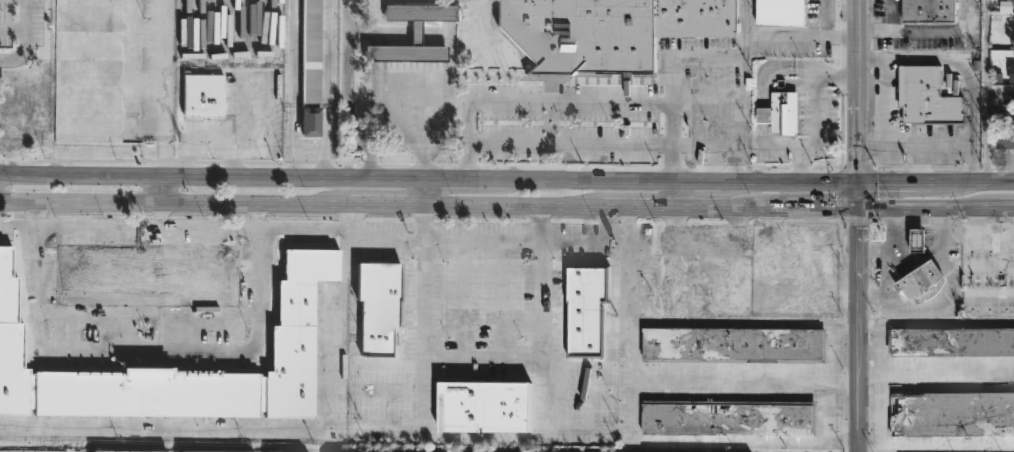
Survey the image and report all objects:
building: (1006, 5)
building: (931, 10)
building: (779, 12)
building: (420, 14)
road: (890, 16)
parking lot: (24, 22)
building: (608, 30)
road: (13, 31)
road: (943, 31)
road: (876, 32)
road: (379, 34)
road: (415, 35)
road: (824, 35)
road: (428, 36)
road: (27, 40)
road: (394, 41)
road: (861, 43)
building: (407, 52)
road: (394, 55)
road: (428, 55)
road: (698, 63)
road: (969, 66)
building: (311, 68)
building: (89, 71)
building: (1012, 72)
road: (750, 78)
road: (152, 89)
road: (986, 91)
road: (347, 92)
building: (202, 96)
building: (926, 96)
road: (570, 103)
road: (394, 112)
building: (782, 113)
road: (817, 115)
road: (426, 121)
road: (859, 134)
building: (1006, 139)
road: (571, 144)
road: (722, 145)
traffic signals: (859, 163)
road: (942, 168)
road: (212, 178)
road: (482, 180)
road: (610, 181)
road: (715, 182)
road: (803, 182)
traffic signals: (878, 182)
road: (922, 182)
road: (1000, 182)
road: (164, 191)
road: (426, 194)
road: (682, 195)
road: (858, 195)
road: (212, 205)
road: (984, 207)
road: (497, 208)
road: (625, 208)
road: (700, 208)
road: (788, 208)
road: (907, 208)
traffic signals: (836, 209)
road: (164, 217)
road: (872, 218)
road: (354, 222)
road: (425, 224)
road: (540, 225)
road: (611, 225)
road: (19, 228)
road: (149, 229)
traffic signals: (860, 229)
road: (433, 240)
road: (695, 240)
road: (991, 240)
building: (794, 245)
road: (894, 247)
road: (915, 256)
road: (993, 264)
road: (860, 265)
building: (146, 273)
building: (737, 281)
building: (920, 282)
building: (485, 285)
building: (673, 285)
building: (989, 296)
road: (990, 296)
road: (947, 297)
building: (797, 300)
building: (382, 306)
building: (587, 309)
road: (145, 313)
road: (733, 322)
road: (937, 322)
road: (846, 323)
building: (292, 331)
road: (343, 333)
road: (542, 335)
building: (952, 341)
building: (736, 344)
road: (148, 351)
road: (428, 353)
road: (833, 354)
road: (938, 372)
road: (734, 382)
road: (862, 387)
building: (484, 406)
building: (952, 413)
building: (730, 418)
road: (582, 427)
road: (848, 428)
road: (280, 432)
road: (663, 441)
building: (26, 451)
building: (116, 451)

